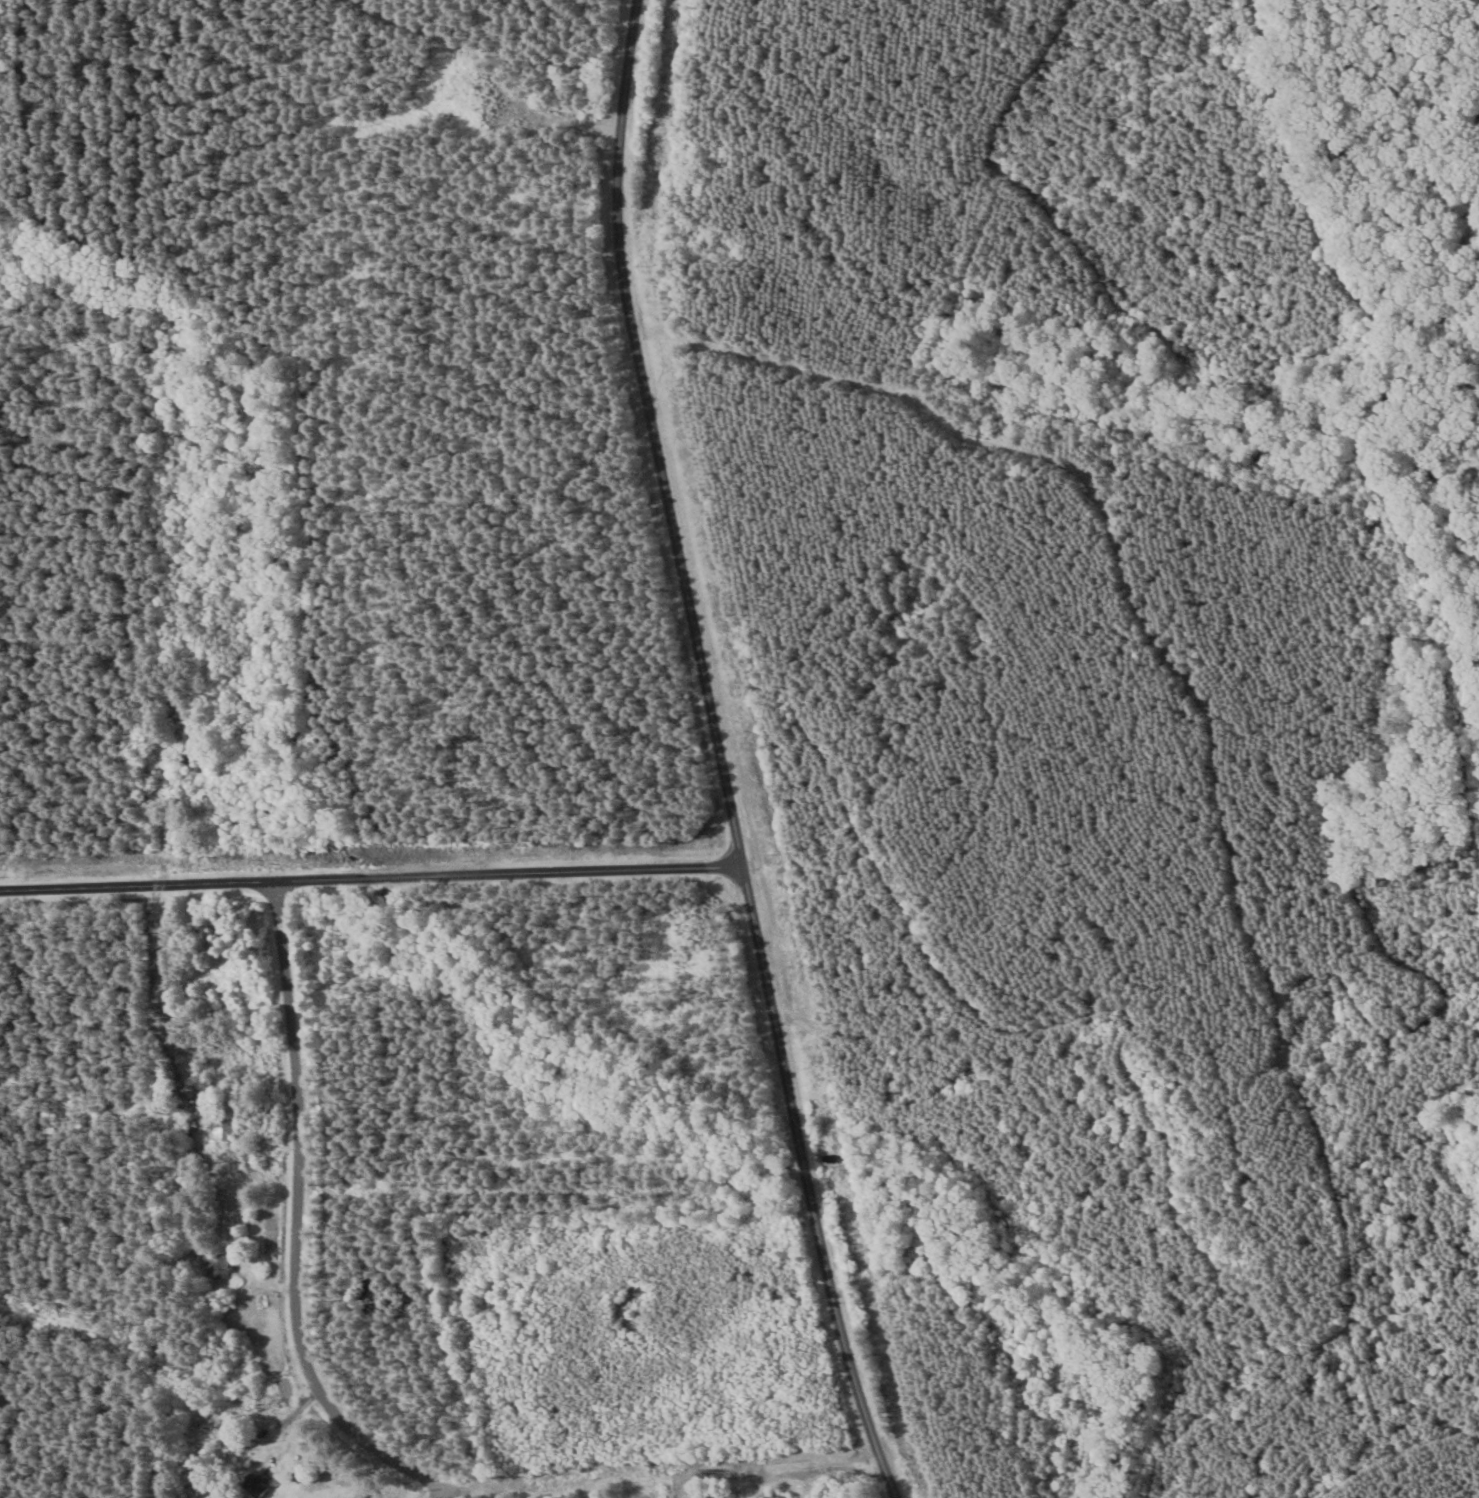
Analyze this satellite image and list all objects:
road: (719, 755)
road: (370, 878)
road: (289, 1234)
road: (706, 1483)

